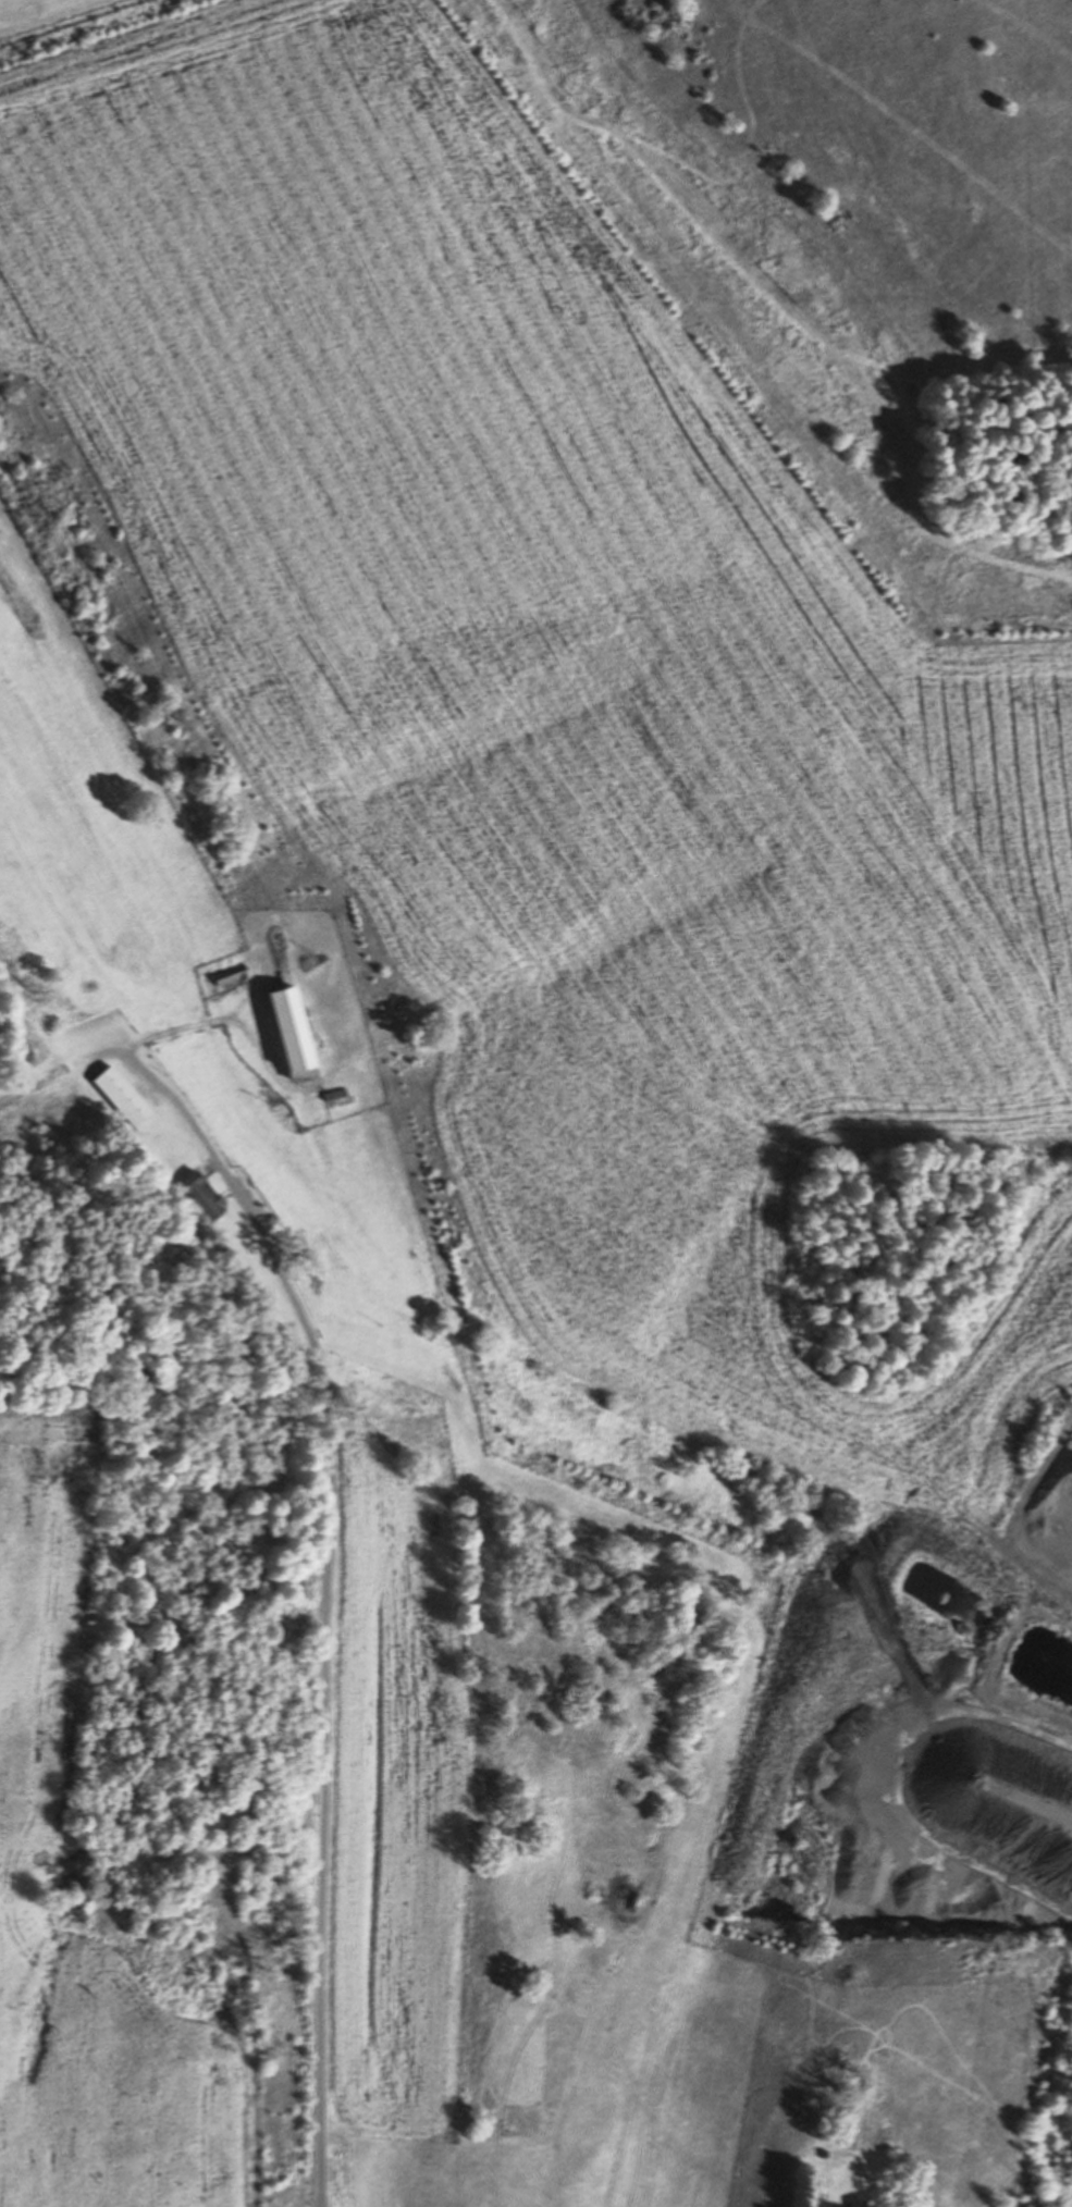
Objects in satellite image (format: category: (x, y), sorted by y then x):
building: (229, 973)
building: (291, 1033)
building: (121, 1093)
building: (201, 1193)
road: (325, 1561)
quarry: (891, 1827)
building: (855, 2204)

